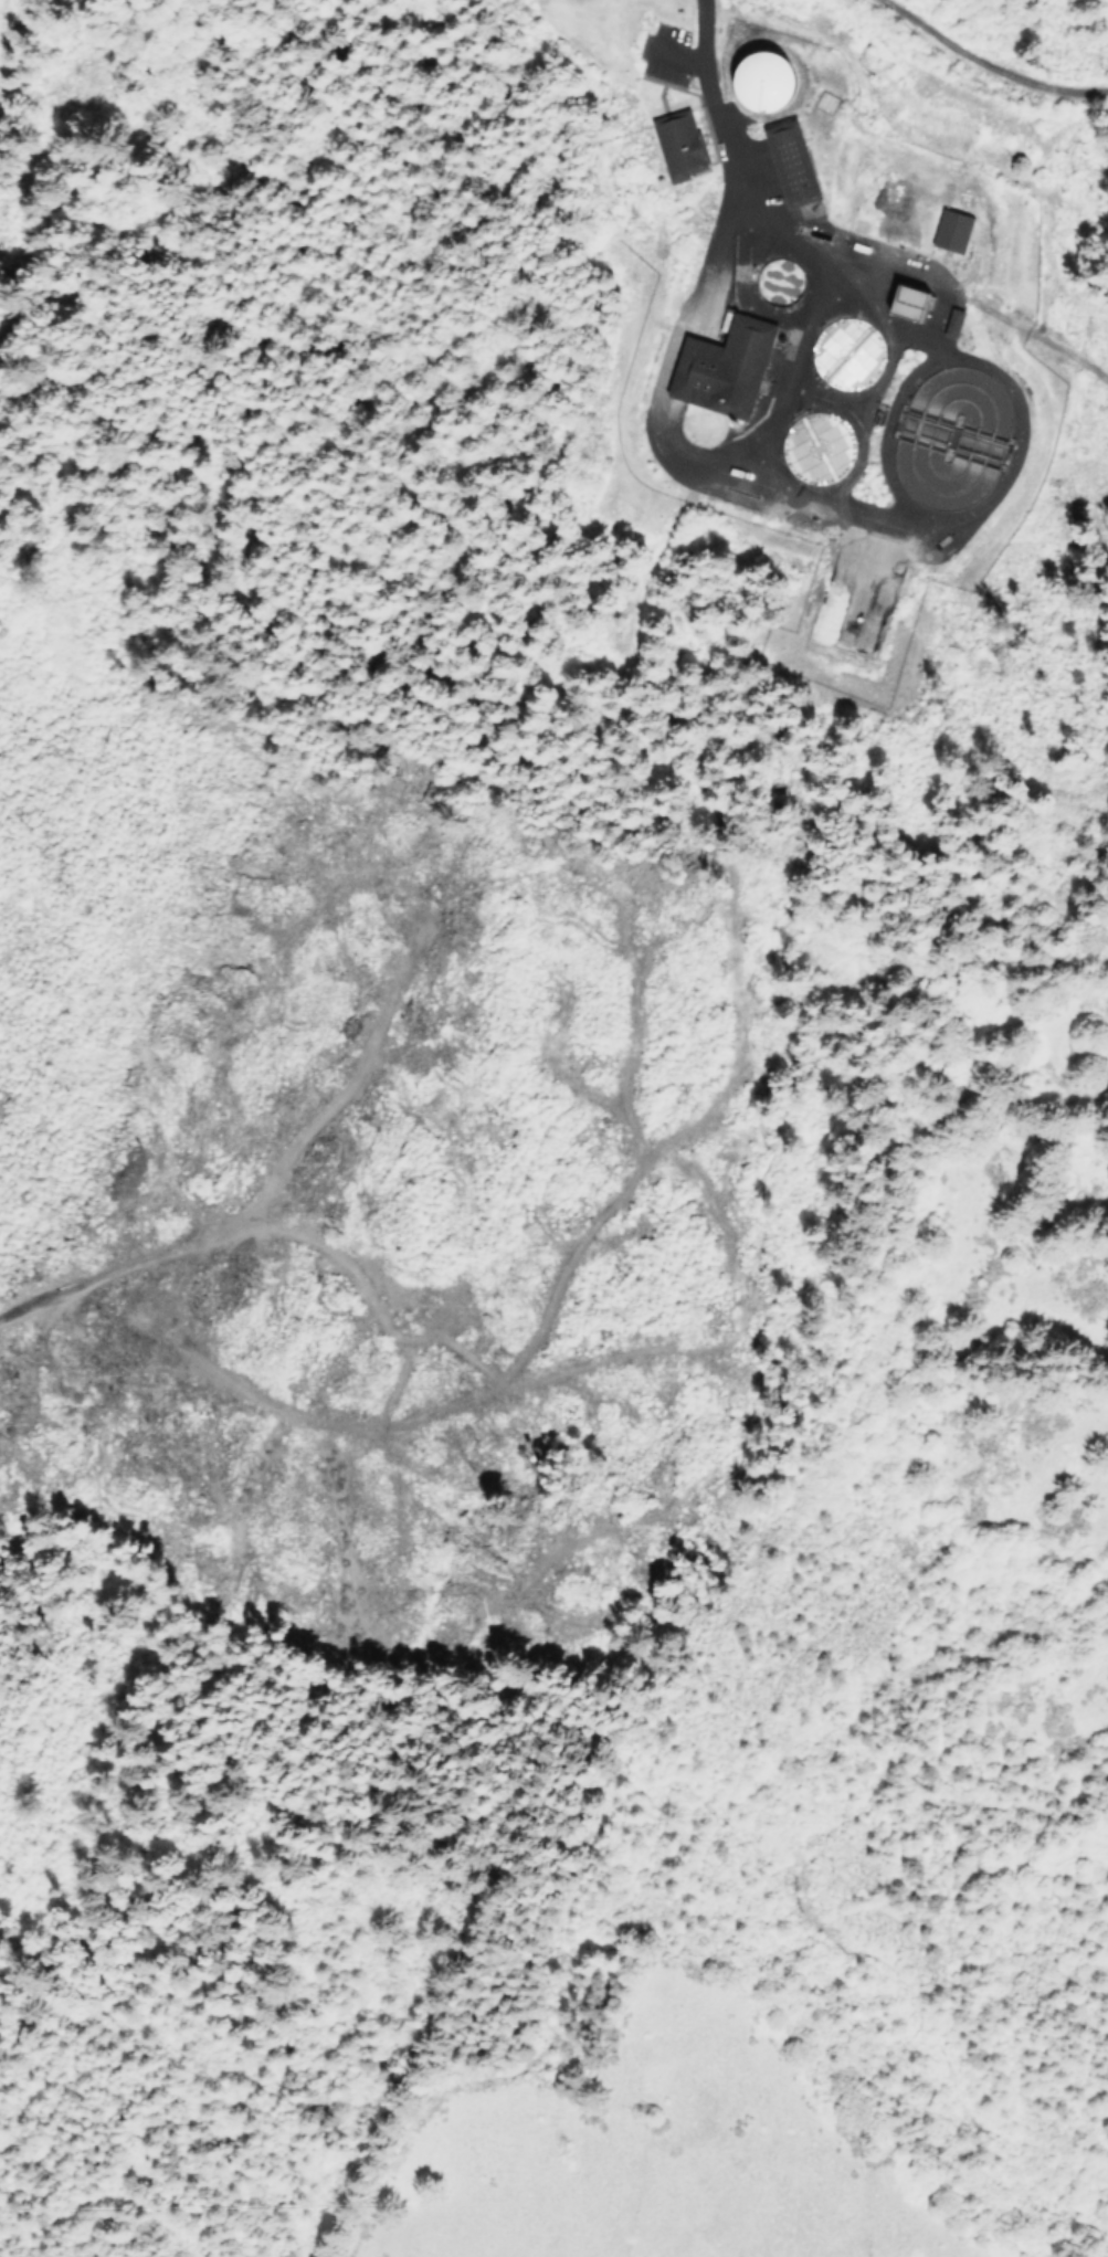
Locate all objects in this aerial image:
parking lot: (665, 53)
road: (671, 54)
road: (985, 63)
storage tank: (762, 80)
building: (750, 82)
road: (703, 83)
building: (678, 146)
building: (790, 162)
building: (950, 230)
building: (908, 302)
building: (893, 303)
road: (876, 317)
building: (951, 321)
wastewater plant: (827, 338)
storage tank: (845, 352)
building: (722, 367)
road: (1015, 434)
storage tank: (815, 446)
road: (717, 471)
road: (640, 502)
road: (609, 1204)
road: (706, 1341)
road: (278, 1407)
road: (590, 2066)

